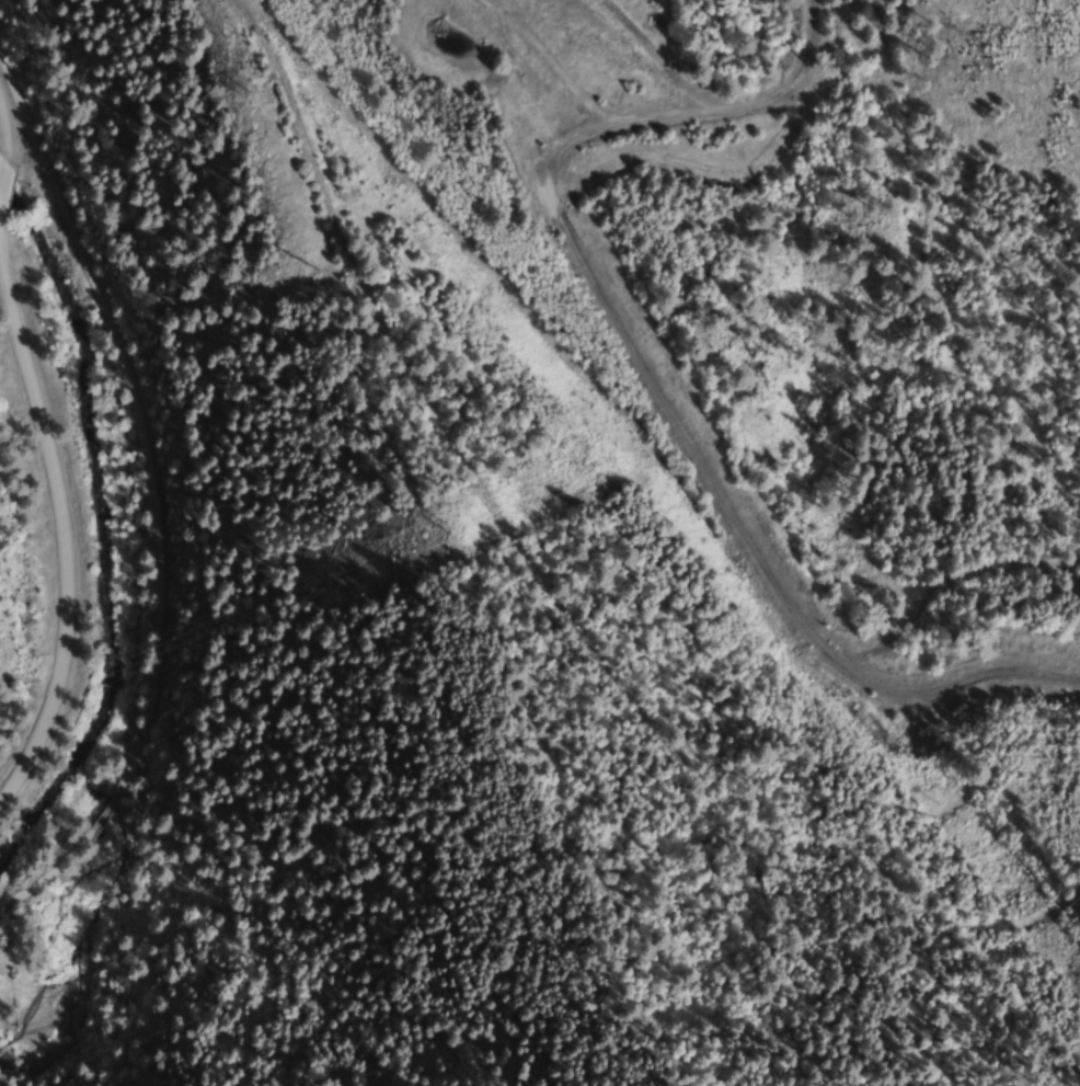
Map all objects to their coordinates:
road: (8, 128)
road: (7, 190)
road: (148, 500)
road: (61, 514)

